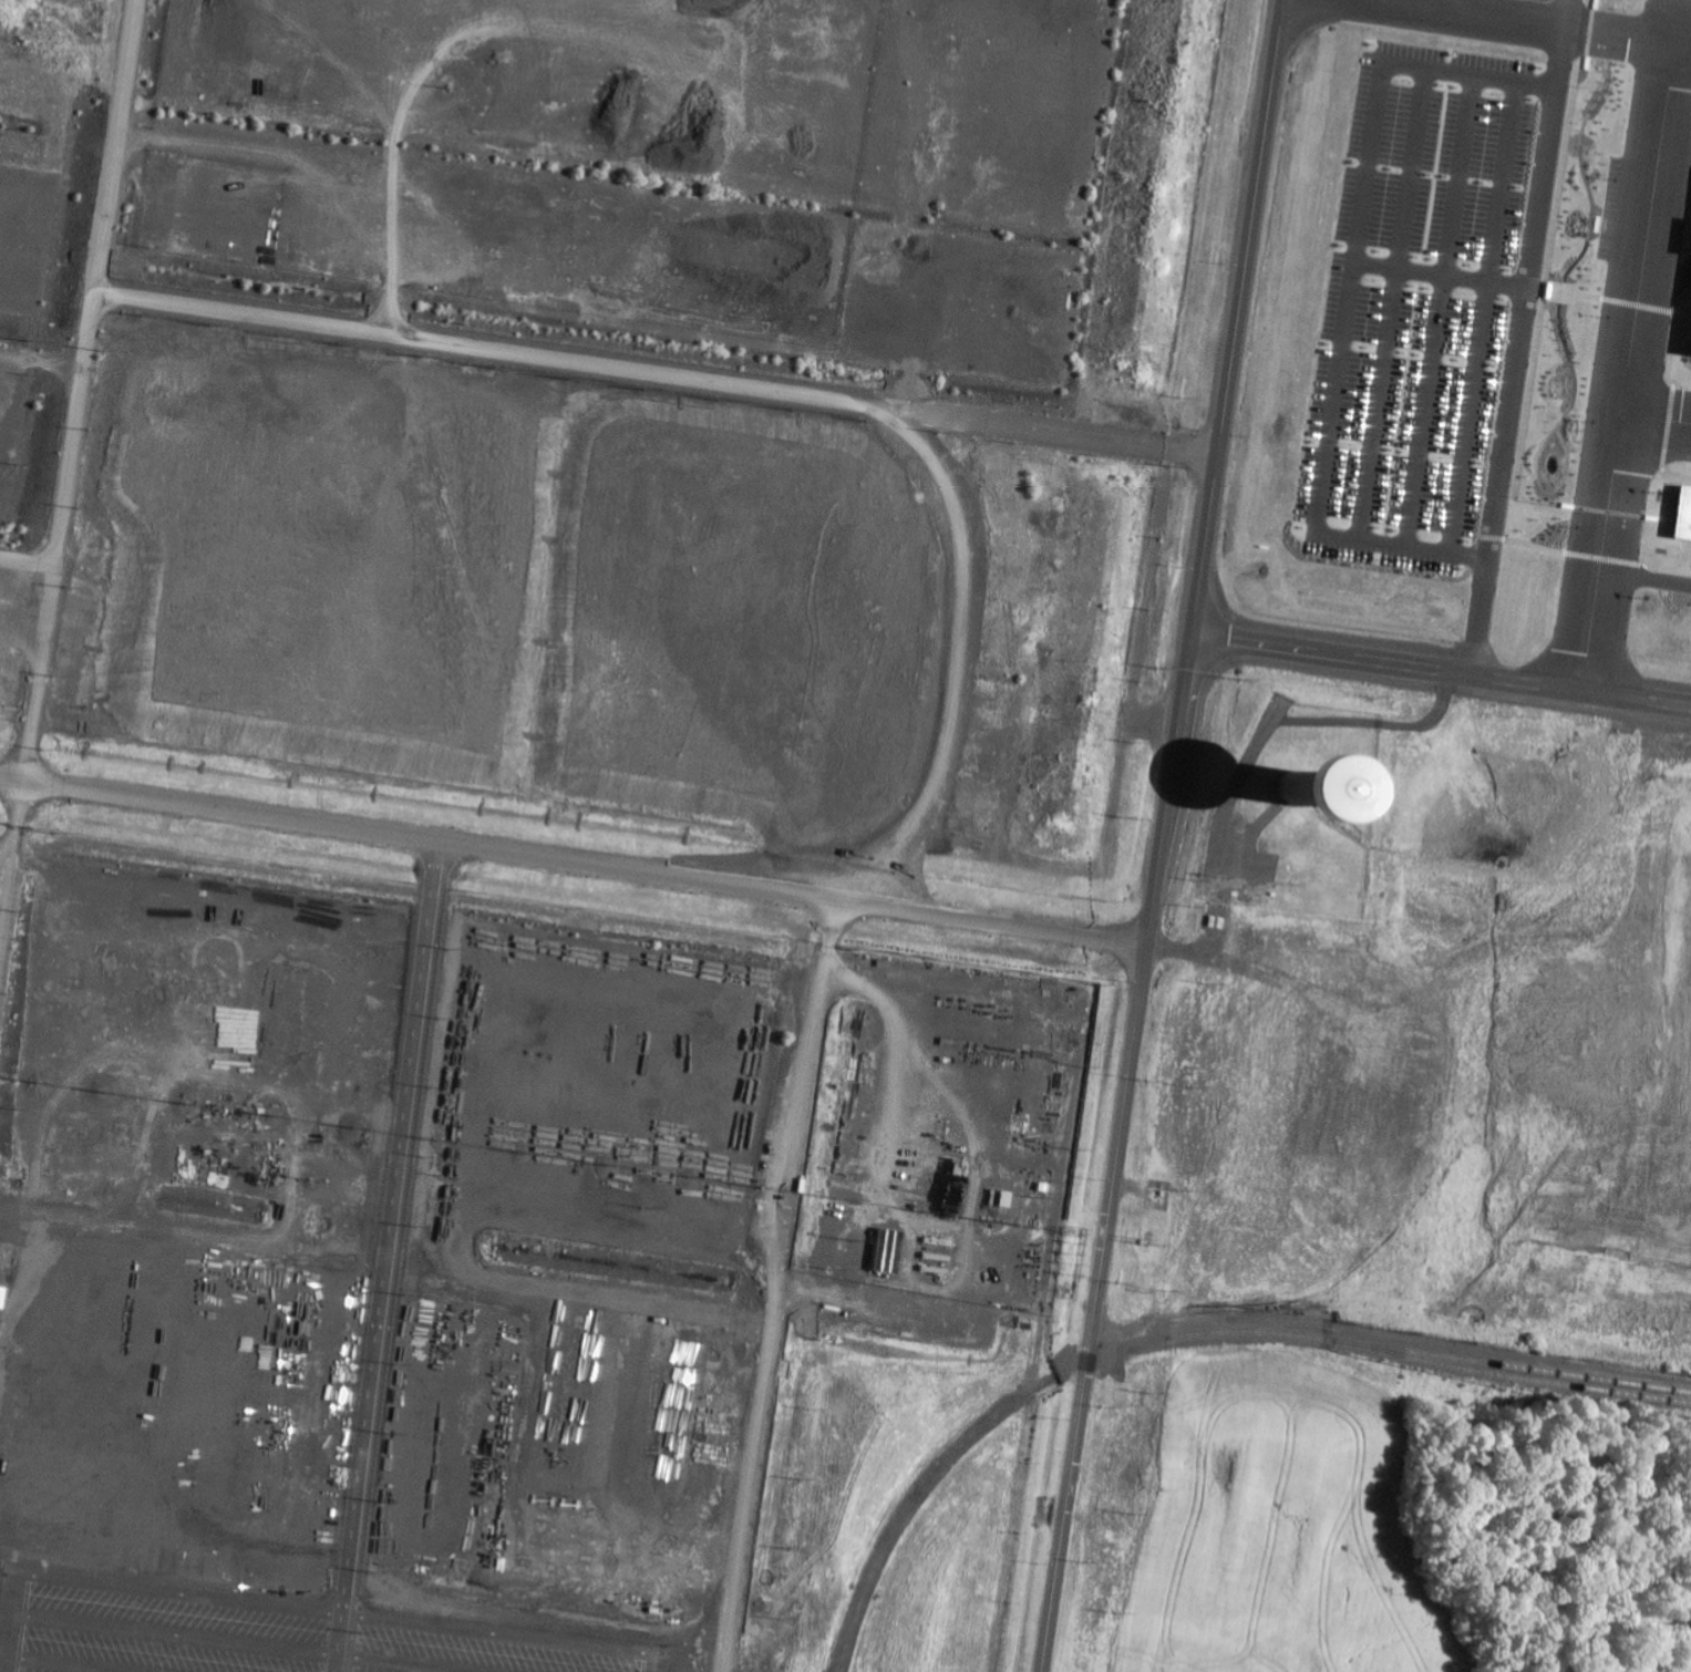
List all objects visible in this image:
road: (1558, 10)
road: (1623, 31)
road: (1367, 164)
building: (1688, 239)
road: (1525, 268)
building: (1685, 323)
road: (39, 359)
road: (1626, 361)
road: (1656, 409)
road: (1320, 481)
building: (1680, 514)
road: (27, 561)
road: (1646, 570)
road: (52, 574)
road: (1443, 662)
road: (1164, 836)
road: (10, 855)
road: (573, 866)
road: (776, 1288)
building: (0, 1294)
railway: (1425, 1355)
railway: (1510, 1379)

